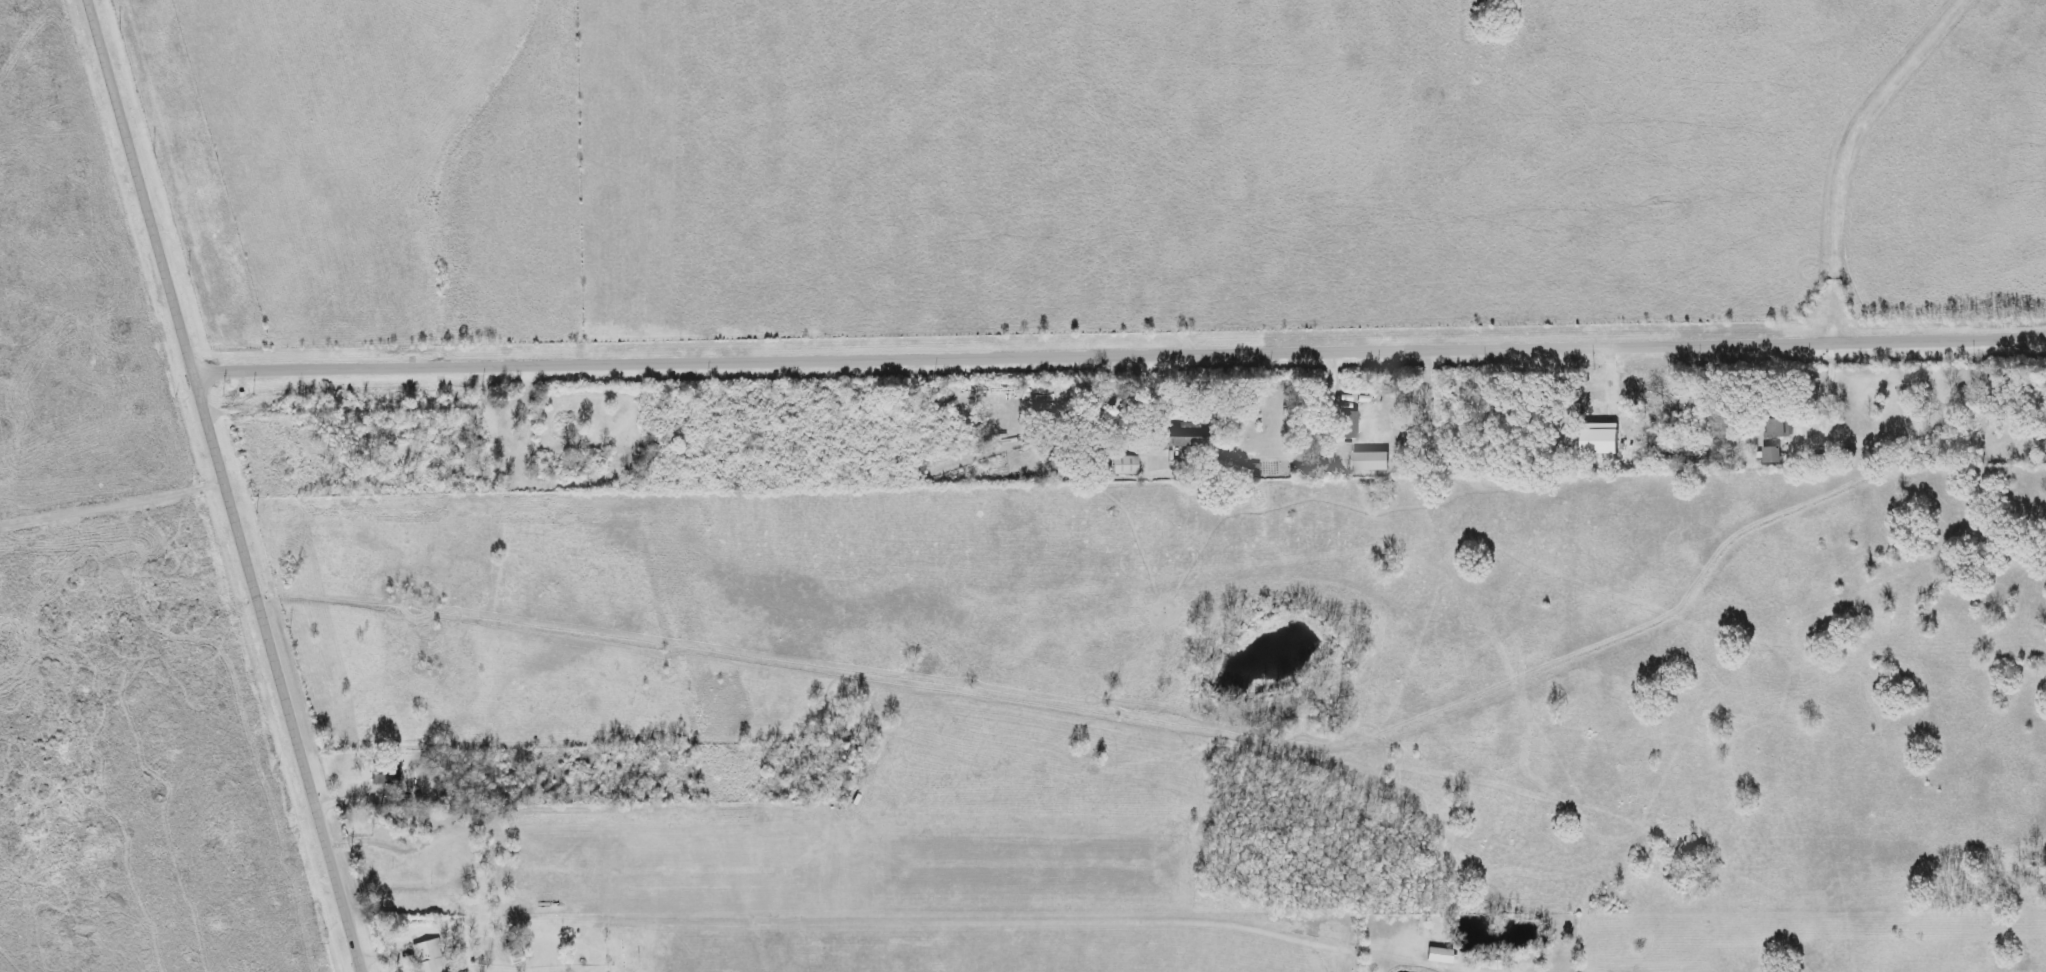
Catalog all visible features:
road: (1121, 358)
road: (1142, 410)
building: (1349, 424)
building: (1779, 427)
building: (1186, 434)
building: (1771, 454)
building: (1370, 461)
building: (1124, 465)
road: (227, 485)
building: (1440, 955)
building: (428, 956)

